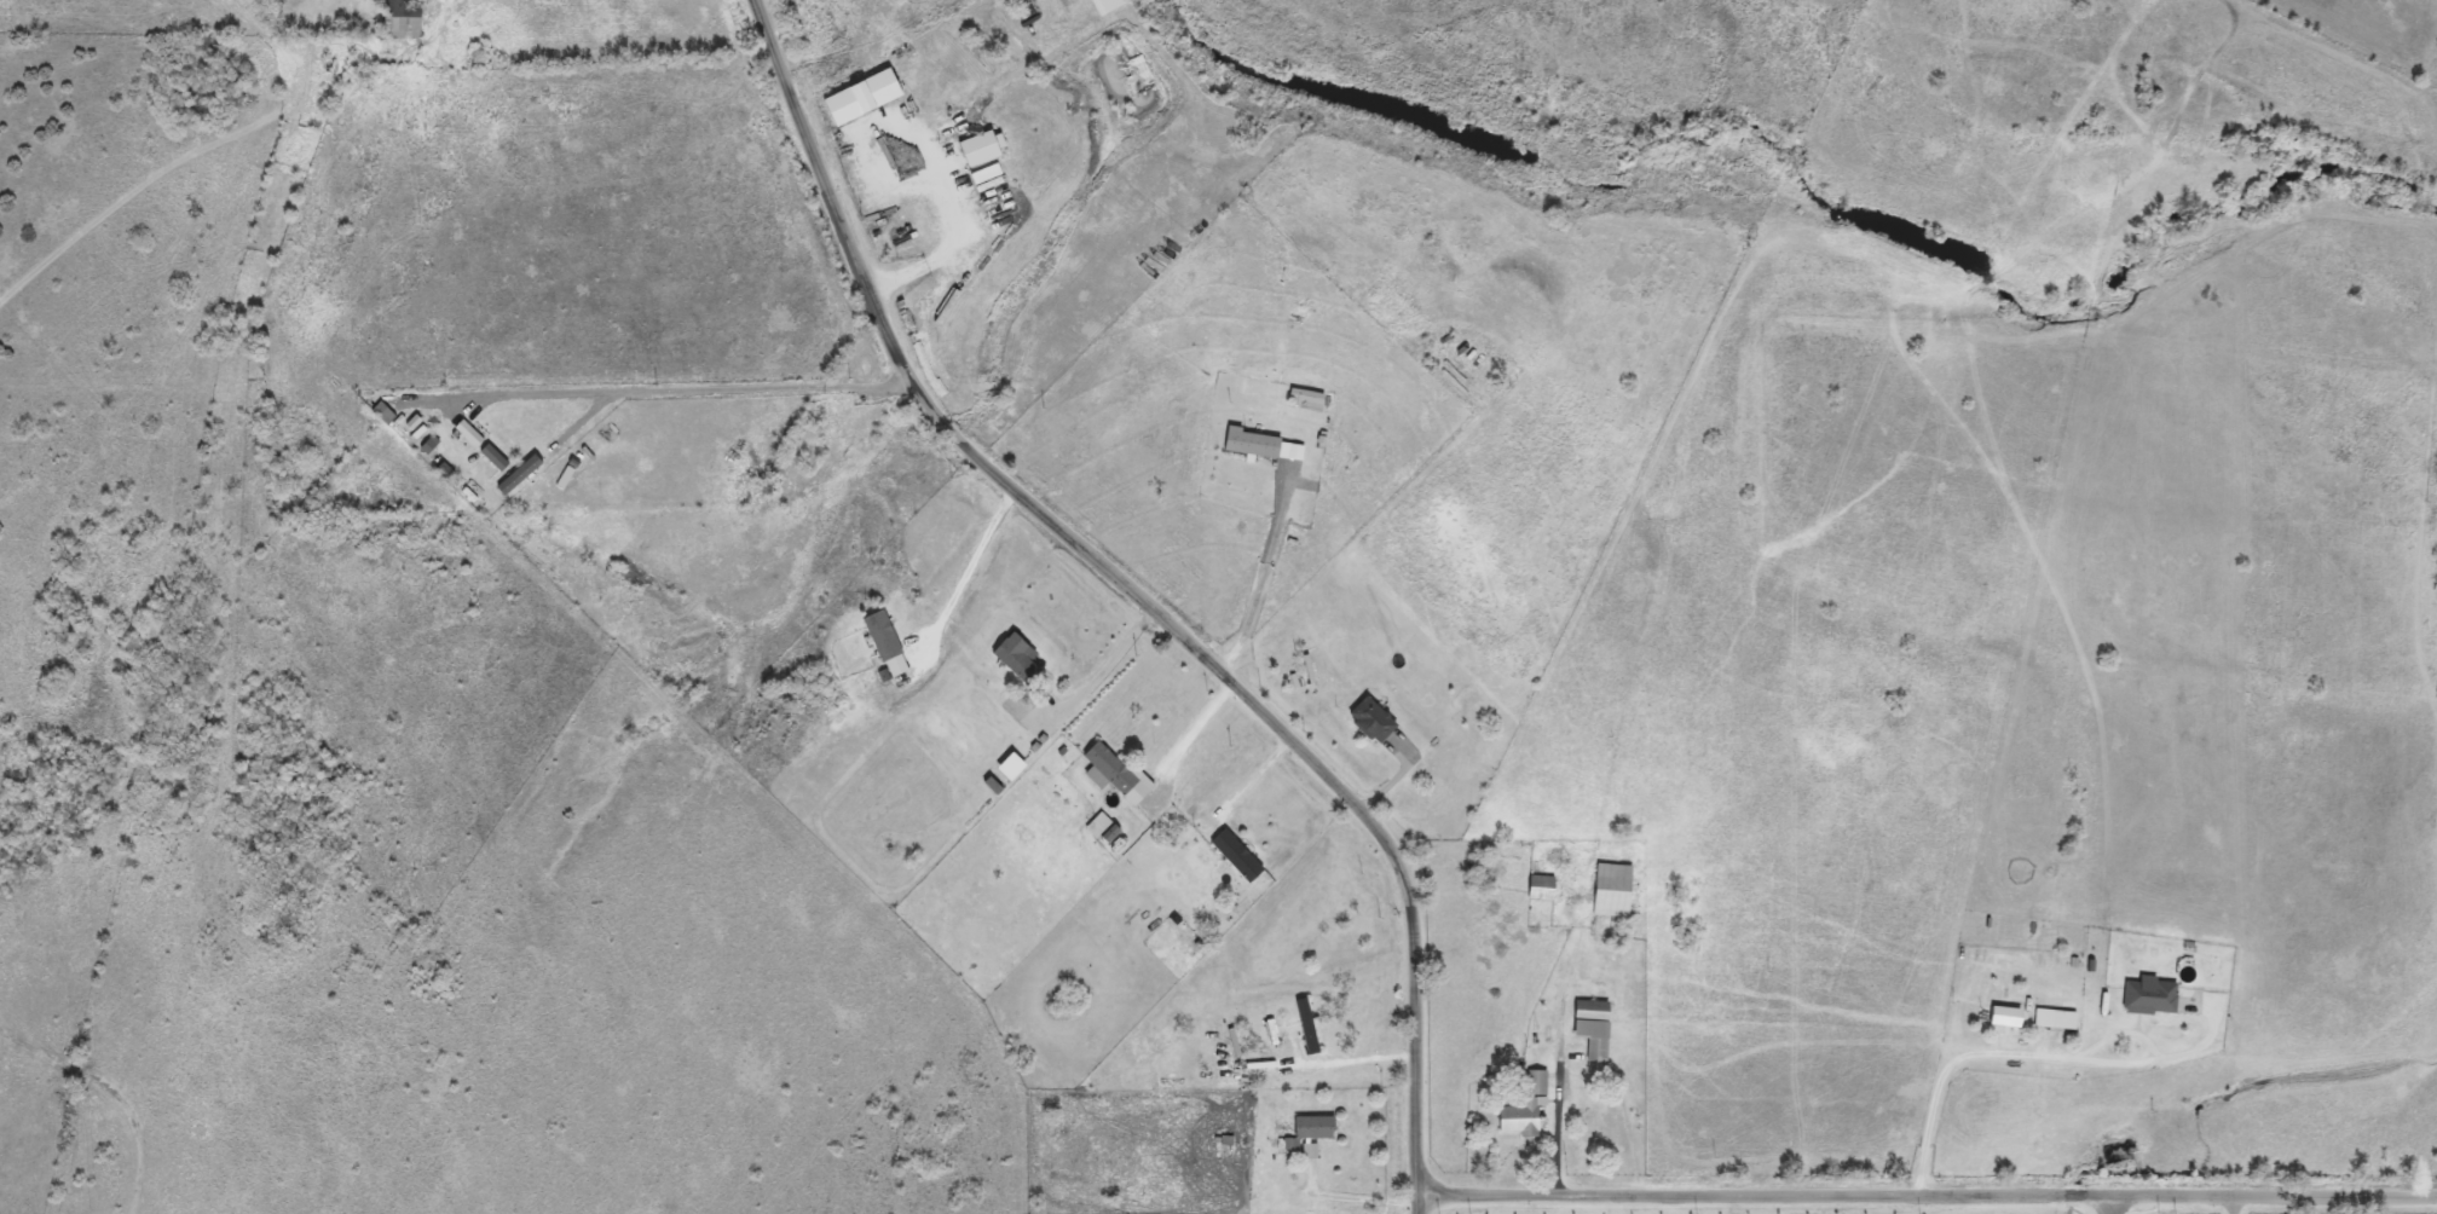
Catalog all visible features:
building: (1101, 5)
building: (397, 19)
building: (947, 126)
building: (974, 150)
building: (987, 191)
road: (941, 221)
road: (654, 391)
building: (380, 414)
building: (1249, 445)
road: (1263, 562)
road: (969, 563)
road: (1142, 597)
building: (883, 644)
building: (1015, 659)
road: (1110, 660)
building: (1368, 721)
road: (1192, 725)
building: (1109, 774)
building: (1234, 856)
building: (1537, 889)
building: (1609, 890)
building: (2000, 1016)
building: (2051, 1019)
building: (1589, 1028)
road: (2028, 1050)
road: (1356, 1059)
road: (1554, 1102)
building: (1520, 1108)
building: (1311, 1127)
road: (1929, 1199)
road: (2107, 1206)
road: (2228, 1207)

